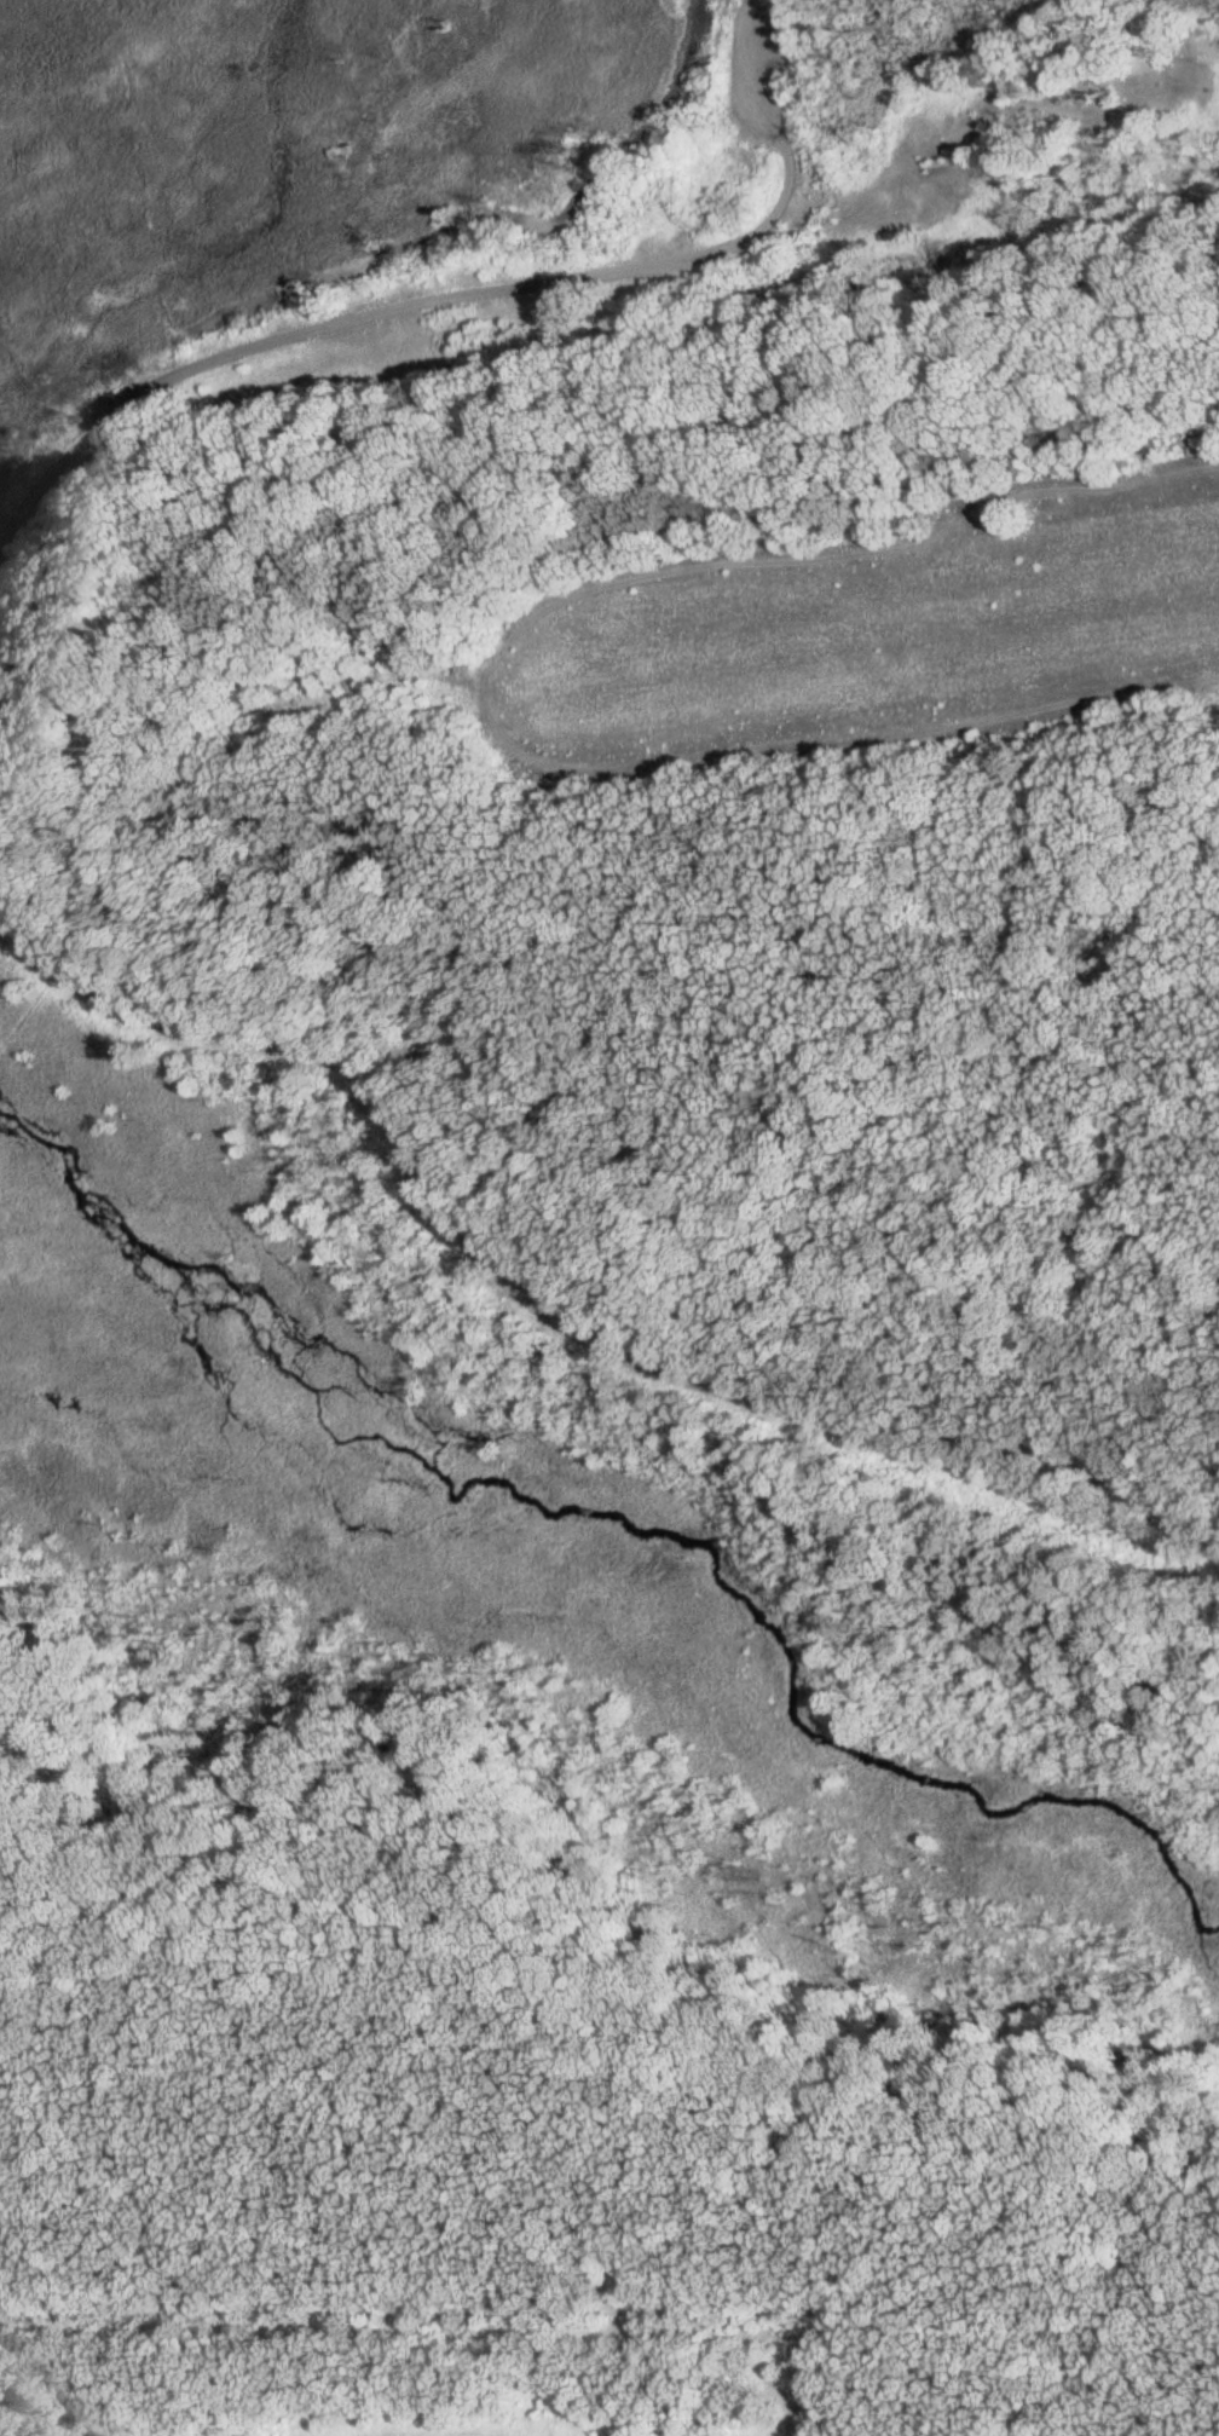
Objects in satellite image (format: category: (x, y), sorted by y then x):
road: (781, 110)
road: (566, 285)
road: (562, 1292)
road: (472, 2313)

